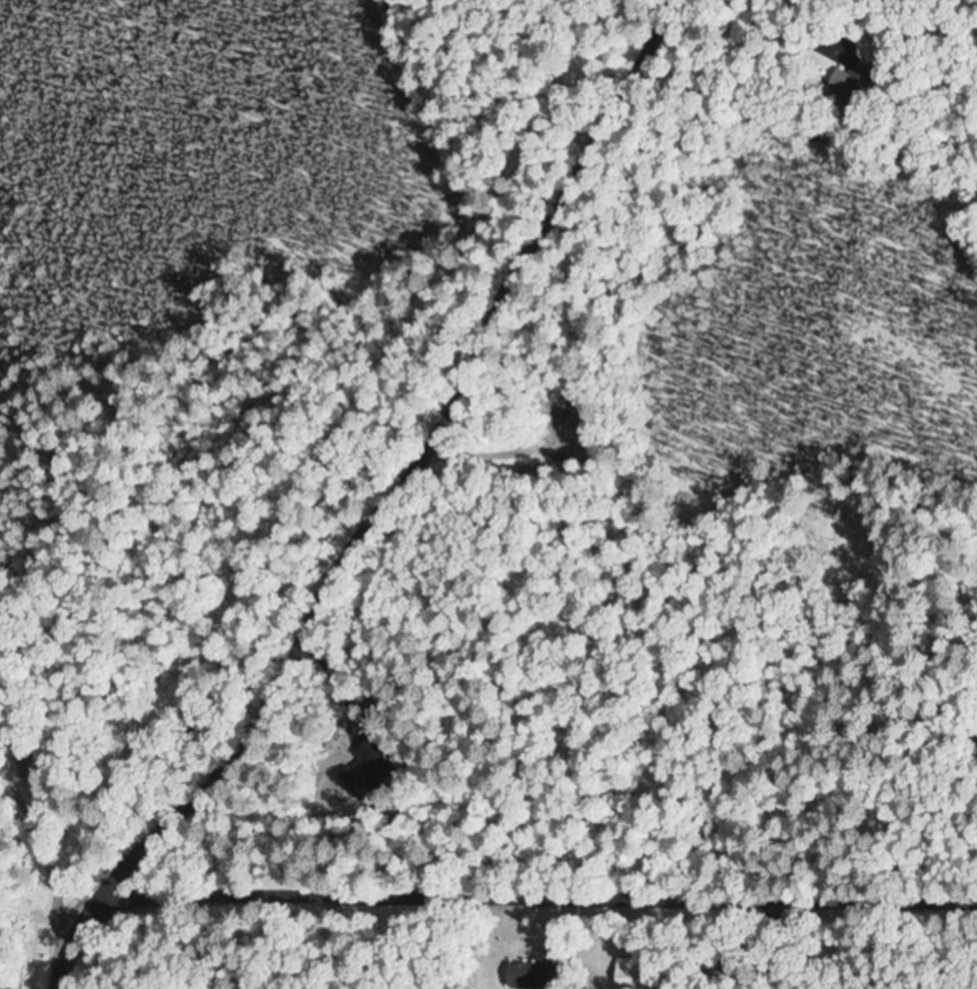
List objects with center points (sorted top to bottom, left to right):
building: (848, 83)
road: (381, 507)
road: (560, 682)
building: (19, 768)
road: (539, 895)
building: (635, 973)
building: (536, 975)

